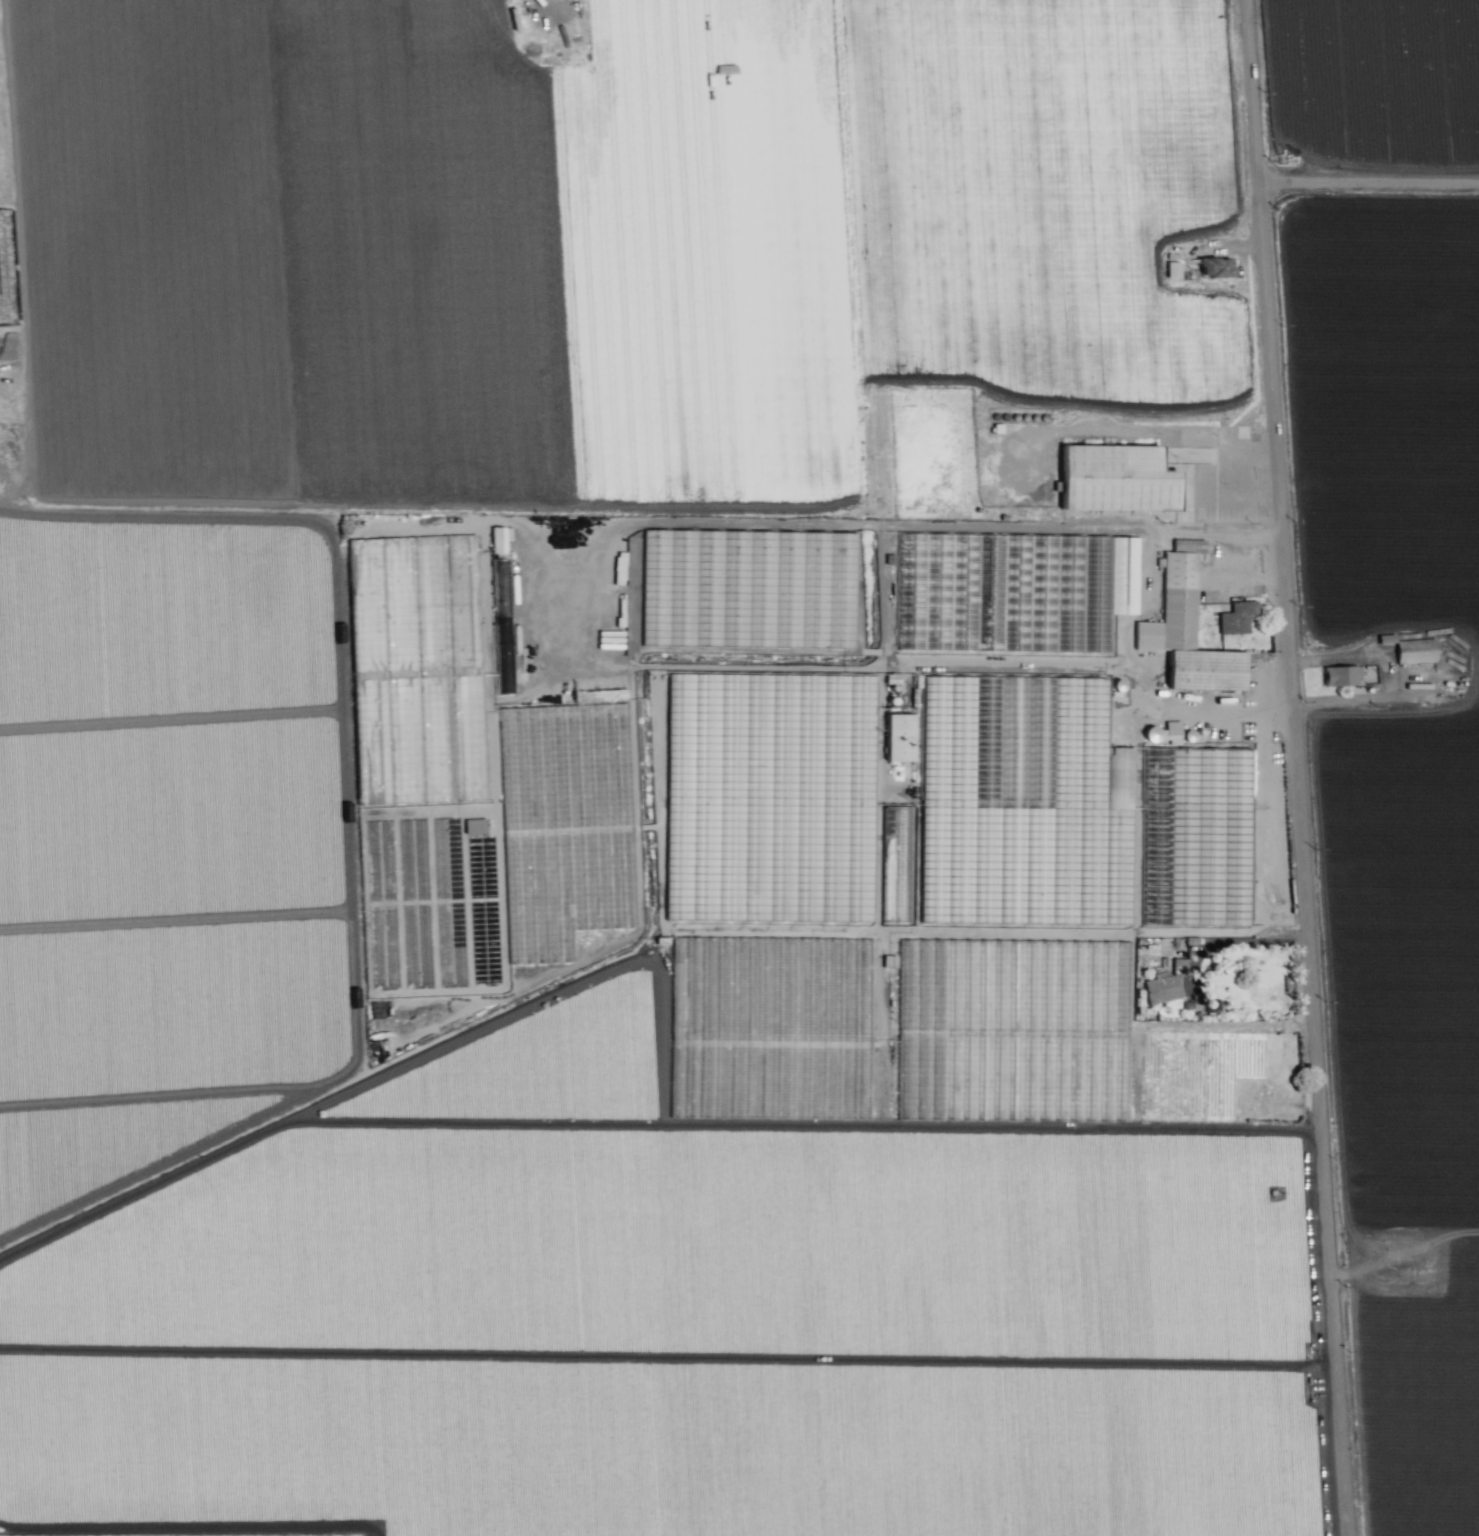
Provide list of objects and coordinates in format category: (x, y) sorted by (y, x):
road: (1254, 93)
road: (1370, 186)
building: (1214, 267)
building: (1171, 269)
building: (1114, 478)
road: (1084, 534)
building: (498, 538)
building: (1114, 568)
building: (499, 579)
building: (1236, 617)
building: (1185, 629)
building: (1414, 650)
building: (1340, 675)
building: (1170, 731)
building: (897, 737)
crop: (739, 768)
building: (473, 825)
road: (346, 830)
road: (1304, 861)
road: (1234, 941)
building: (1178, 965)
building: (1161, 987)

